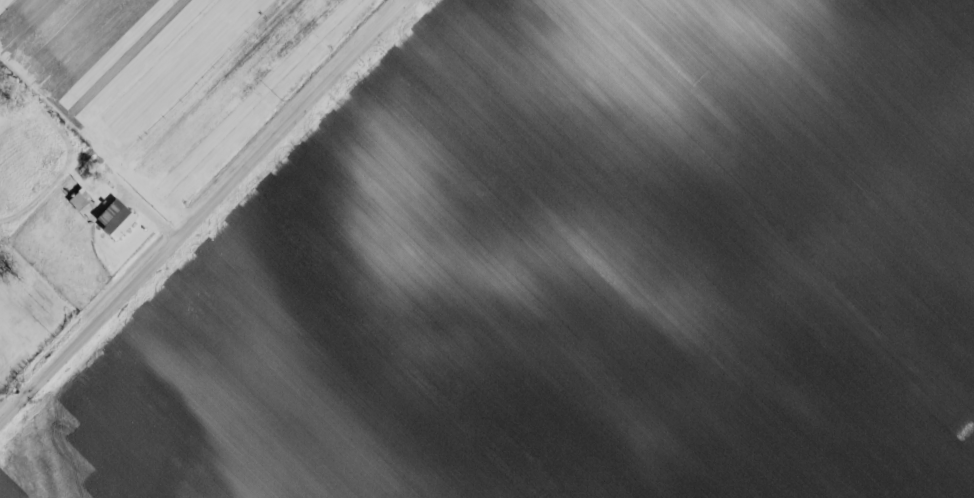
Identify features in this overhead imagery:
road: (202, 208)
building: (114, 223)

